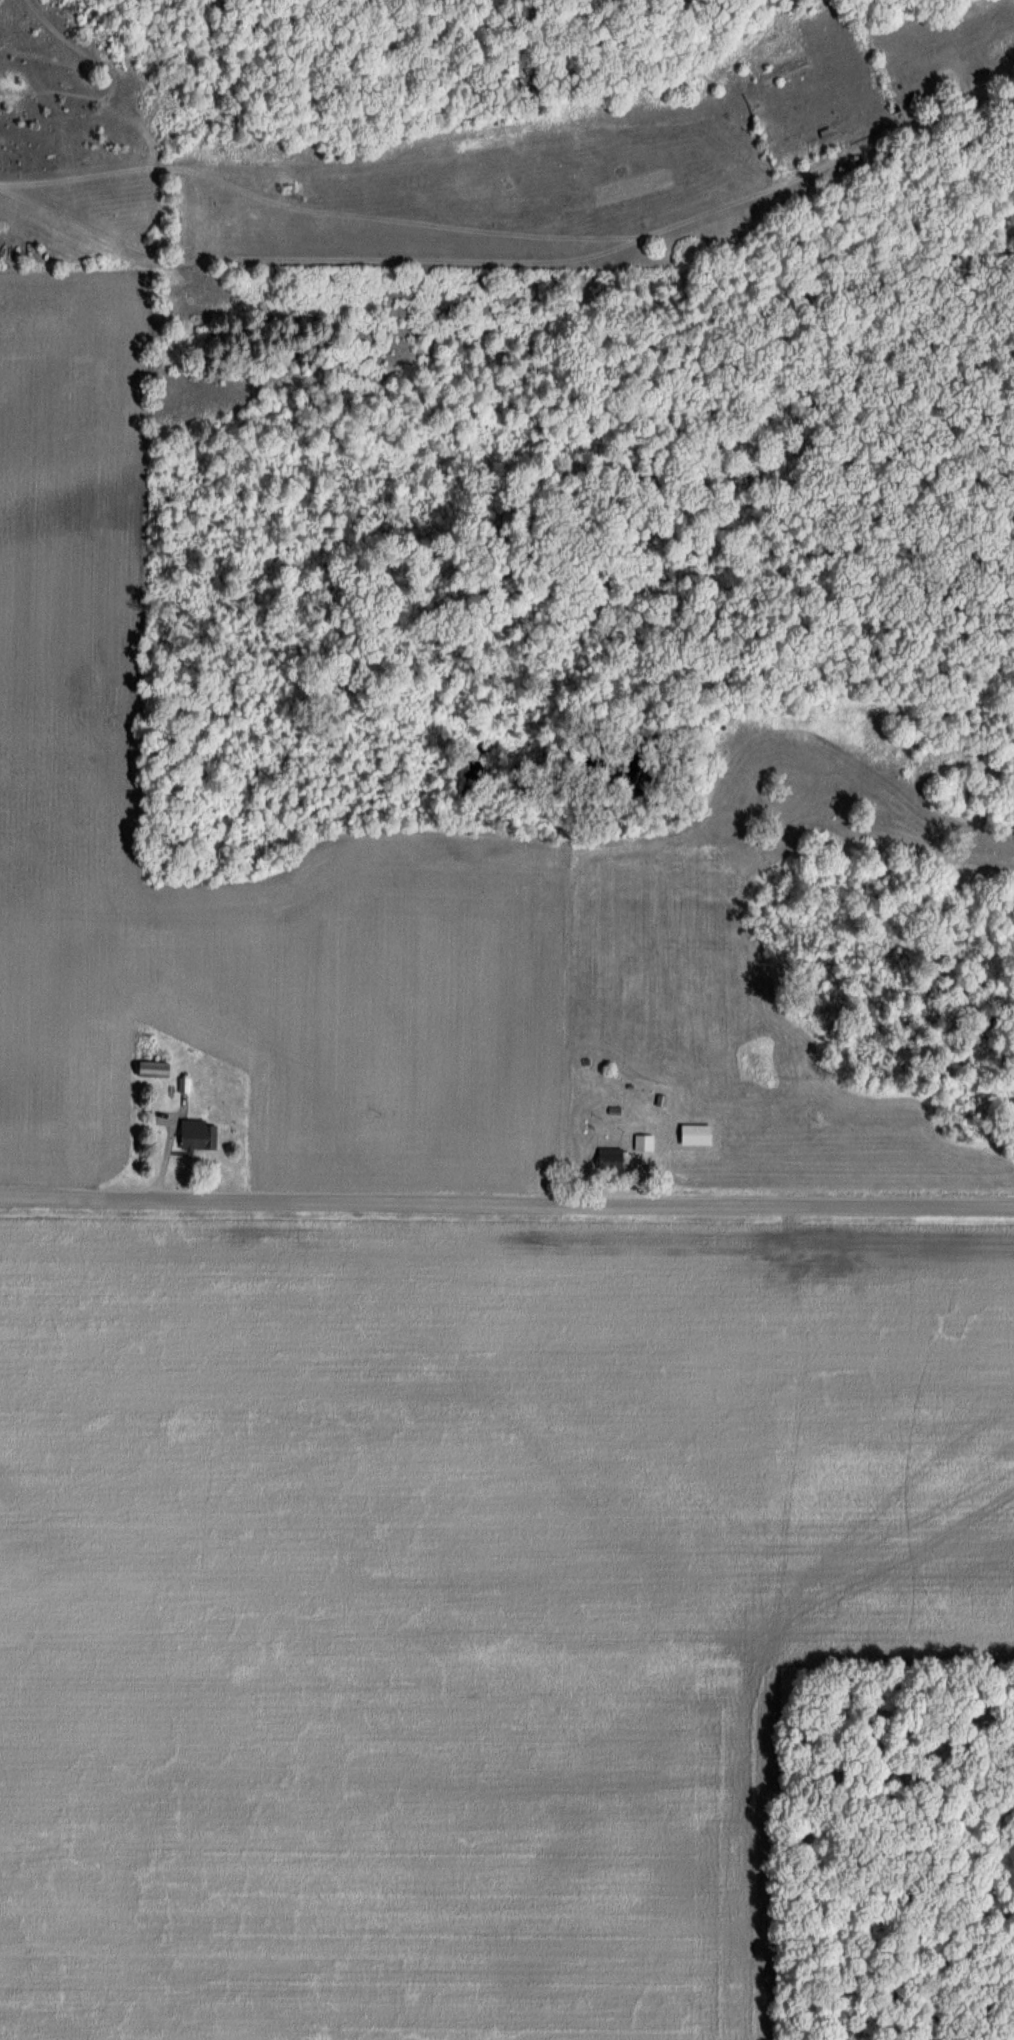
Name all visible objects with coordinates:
building: (149, 1069)
building: (184, 1085)
building: (190, 1134)
building: (692, 1135)
building: (641, 1143)
building: (607, 1158)
road: (507, 1197)

